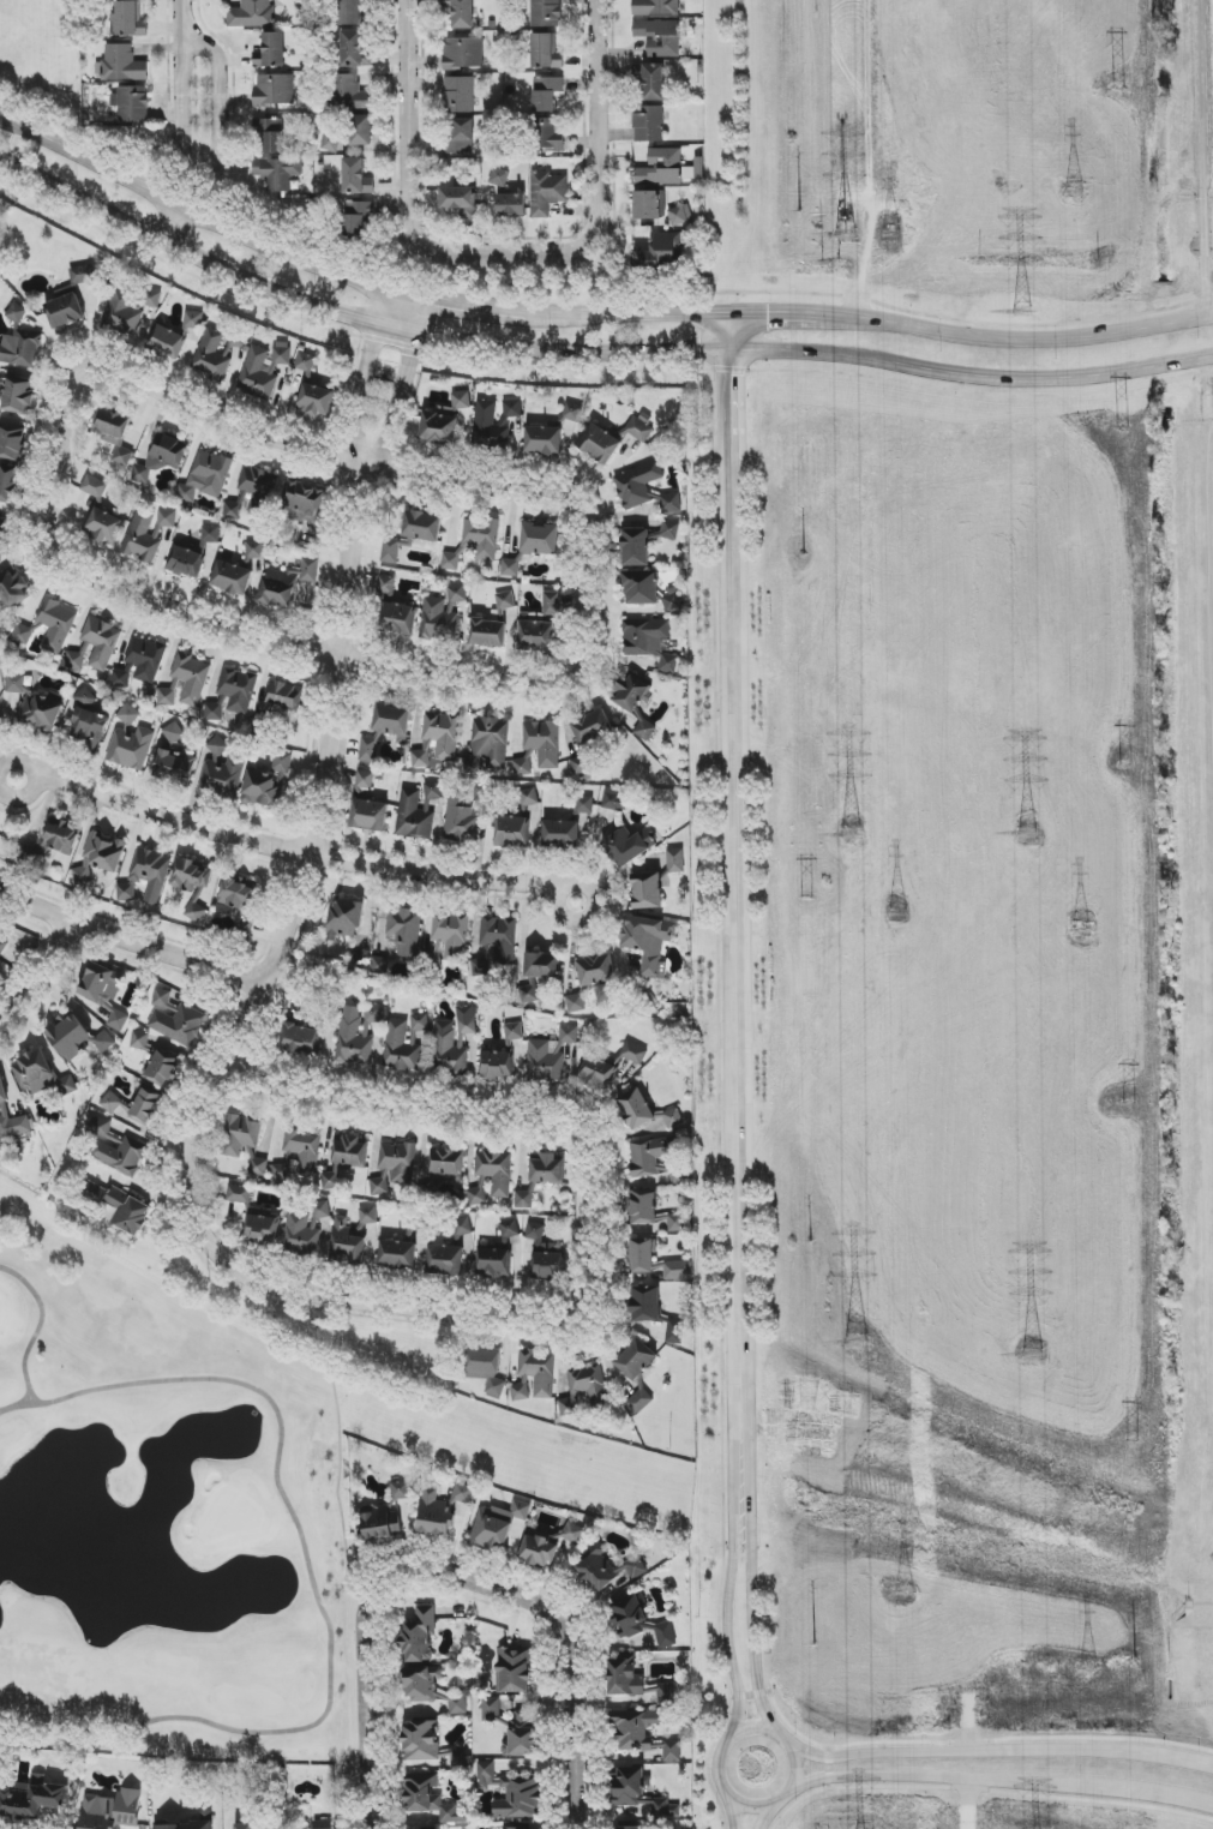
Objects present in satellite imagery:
road: (175, 6)
building: (352, 12)
building: (461, 13)
building: (546, 13)
building: (252, 14)
building: (127, 20)
building: (660, 37)
building: (355, 50)
building: (271, 52)
building: (545, 52)
building: (463, 53)
road: (595, 60)
building: (122, 64)
building: (653, 82)
power tower: (1121, 88)
building: (275, 90)
building: (546, 92)
building: (353, 94)
building: (458, 95)
building: (132, 104)
road: (867, 119)
building: (648, 124)
building: (360, 131)
building: (550, 134)
building: (271, 136)
building: (462, 137)
building: (330, 140)
road: (208, 161)
building: (660, 168)
building: (277, 173)
building: (356, 178)
building: (499, 178)
power tower: (1071, 192)
building: (547, 193)
building: (458, 199)
building: (511, 205)
building: (647, 205)
road: (200, 211)
power tower: (800, 212)
building: (680, 215)
building: (358, 217)
power tower: (846, 235)
power tower: (890, 236)
building: (661, 252)
road: (444, 254)
road: (866, 278)
building: (70, 299)
road: (467, 308)
building: (128, 310)
power tower: (1022, 311)
building: (17, 313)
road: (629, 314)
road: (781, 314)
building: (193, 320)
road: (729, 335)
road: (1021, 341)
building: (167, 342)
building: (20, 350)
road: (589, 352)
building: (211, 355)
building: (306, 365)
building: (263, 370)
road: (366, 376)
road: (403, 386)
building: (19, 396)
building: (461, 400)
building: (314, 401)
building: (572, 413)
road: (729, 414)
building: (493, 425)
building: (438, 428)
building: (641, 428)
power tower: (1122, 428)
building: (114, 433)
building: (544, 440)
building: (12, 444)
building: (600, 444)
building: (162, 457)
road: (56, 466)
building: (206, 476)
building: (7, 484)
building: (637, 485)
building: (94, 486)
building: (258, 490)
building: (671, 503)
building: (232, 511)
building: (104, 526)
building: (422, 526)
building: (669, 530)
building: (146, 533)
building: (210, 534)
building: (481, 538)
building: (4, 539)
building: (540, 539)
building: (635, 547)
building: (392, 550)
building: (254, 551)
power tower: (804, 556)
building: (451, 560)
building: (185, 562)
building: (510, 568)
building: (232, 578)
building: (287, 582)
building: (386, 586)
building: (641, 588)
building: (14, 589)
building: (457, 594)
building: (672, 600)
building: (505, 601)
building: (552, 604)
road: (587, 604)
building: (397, 619)
building: (437, 620)
building: (56, 625)
building: (488, 632)
building: (22, 634)
building: (536, 634)
building: (644, 636)
building: (101, 642)
building: (145, 659)
building: (668, 664)
building: (120, 678)
building: (186, 682)
building: (238, 689)
building: (631, 691)
building: (283, 695)
building: (86, 697)
building: (35, 704)
building: (215, 710)
building: (0, 720)
building: (392, 721)
building: (89, 726)
building: (592, 727)
building: (644, 730)
building: (175, 733)
building: (443, 733)
building: (131, 742)
building: (542, 742)
building: (488, 744)
building: (368, 750)
building: (421, 757)
building: (523, 764)
building: (581, 764)
building: (175, 766)
power tower: (1125, 767)
building: (222, 770)
building: (365, 780)
building: (268, 782)
building: (433, 791)
building: (482, 793)
building: (529, 797)
building: (614, 800)
building: (584, 804)
building: (368, 815)
building: (414, 816)
building: (461, 818)
building: (511, 832)
building: (560, 833)
power tower: (1028, 834)
power tower: (849, 836)
building: (61, 838)
building: (627, 846)
road: (293, 853)
building: (100, 857)
building: (675, 860)
building: (146, 876)
building: (193, 887)
building: (647, 890)
building: (238, 898)
power tower: (809, 900)
power tower: (897, 916)
building: (344, 918)
building: (404, 930)
power tower: (1076, 931)
building: (451, 935)
building: (499, 939)
building: (649, 942)
building: (2, 945)
road: (131, 952)
building: (380, 966)
building: (542, 966)
building: (595, 970)
road: (728, 970)
building: (101, 984)
road: (47, 989)
building: (528, 994)
building: (576, 1003)
building: (175, 1019)
building: (466, 1019)
building: (118, 1020)
building: (514, 1031)
building: (356, 1033)
building: (68, 1037)
road: (246, 1037)
building: (301, 1039)
building: (139, 1041)
building: (103, 1042)
building: (404, 1043)
building: (449, 1049)
building: (633, 1053)
building: (550, 1056)
building: (497, 1066)
building: (163, 1068)
building: (34, 1072)
building: (598, 1072)
building: (2, 1090)
building: (114, 1103)
building: (146, 1107)
power tower: (1128, 1107)
building: (636, 1109)
building: (672, 1119)
building: (20, 1126)
road: (516, 1131)
building: (240, 1135)
building: (114, 1147)
building: (304, 1147)
building: (348, 1150)
building: (656, 1159)
building: (445, 1163)
building: (258, 1167)
building: (394, 1168)
building: (546, 1169)
building: (282, 1170)
building: (496, 1170)
building: (331, 1176)
building: (239, 1194)
building: (476, 1197)
building: (524, 1200)
building: (320, 1210)
building: (651, 1211)
building: (128, 1212)
building: (368, 1216)
building: (463, 1228)
building: (262, 1229)
building: (509, 1229)
building: (301, 1234)
building: (347, 1242)
power tower: (811, 1242)
building: (397, 1254)
building: (545, 1254)
building: (641, 1255)
building: (445, 1260)
building: (493, 1263)
building: (678, 1270)
building: (645, 1305)
building: (674, 1332)
power tower: (855, 1345)
power tower: (1034, 1357)
building: (636, 1360)
building: (486, 1369)
building: (534, 1375)
building: (584, 1389)
building: (639, 1401)
power tower: (1133, 1446)
building: (401, 1489)
park: (162, 1509)
building: (442, 1509)
building: (383, 1522)
building: (497, 1525)
building: (547, 1543)
building: (607, 1571)
road: (448, 1576)
power tower: (813, 1585)
power tower: (905, 1595)
road: (756, 1597)
road: (733, 1601)
building: (629, 1617)
building: (420, 1636)
building: (665, 1636)
power tower: (1085, 1668)
building: (514, 1671)
building: (625, 1678)
building: (430, 1687)
building: (666, 1695)
road: (753, 1695)
building: (491, 1709)
road: (969, 1720)
building: (633, 1731)
road: (743, 1733)
building: (430, 1746)
building: (672, 1751)
road: (951, 1751)
power tower: (1134, 1755)
road: (1165, 1758)
road: (829, 1767)
road: (974, 1780)
building: (636, 1791)
building: (512, 1794)
building: (32, 1799)
building: (430, 1800)
road: (1185, 1800)
road: (969, 1804)
building: (112, 1810)
road: (739, 1812)
road: (771, 1815)
building: (205, 1817)
building: (323, 1824)
building: (245, 1827)
building: (627, 1828)

